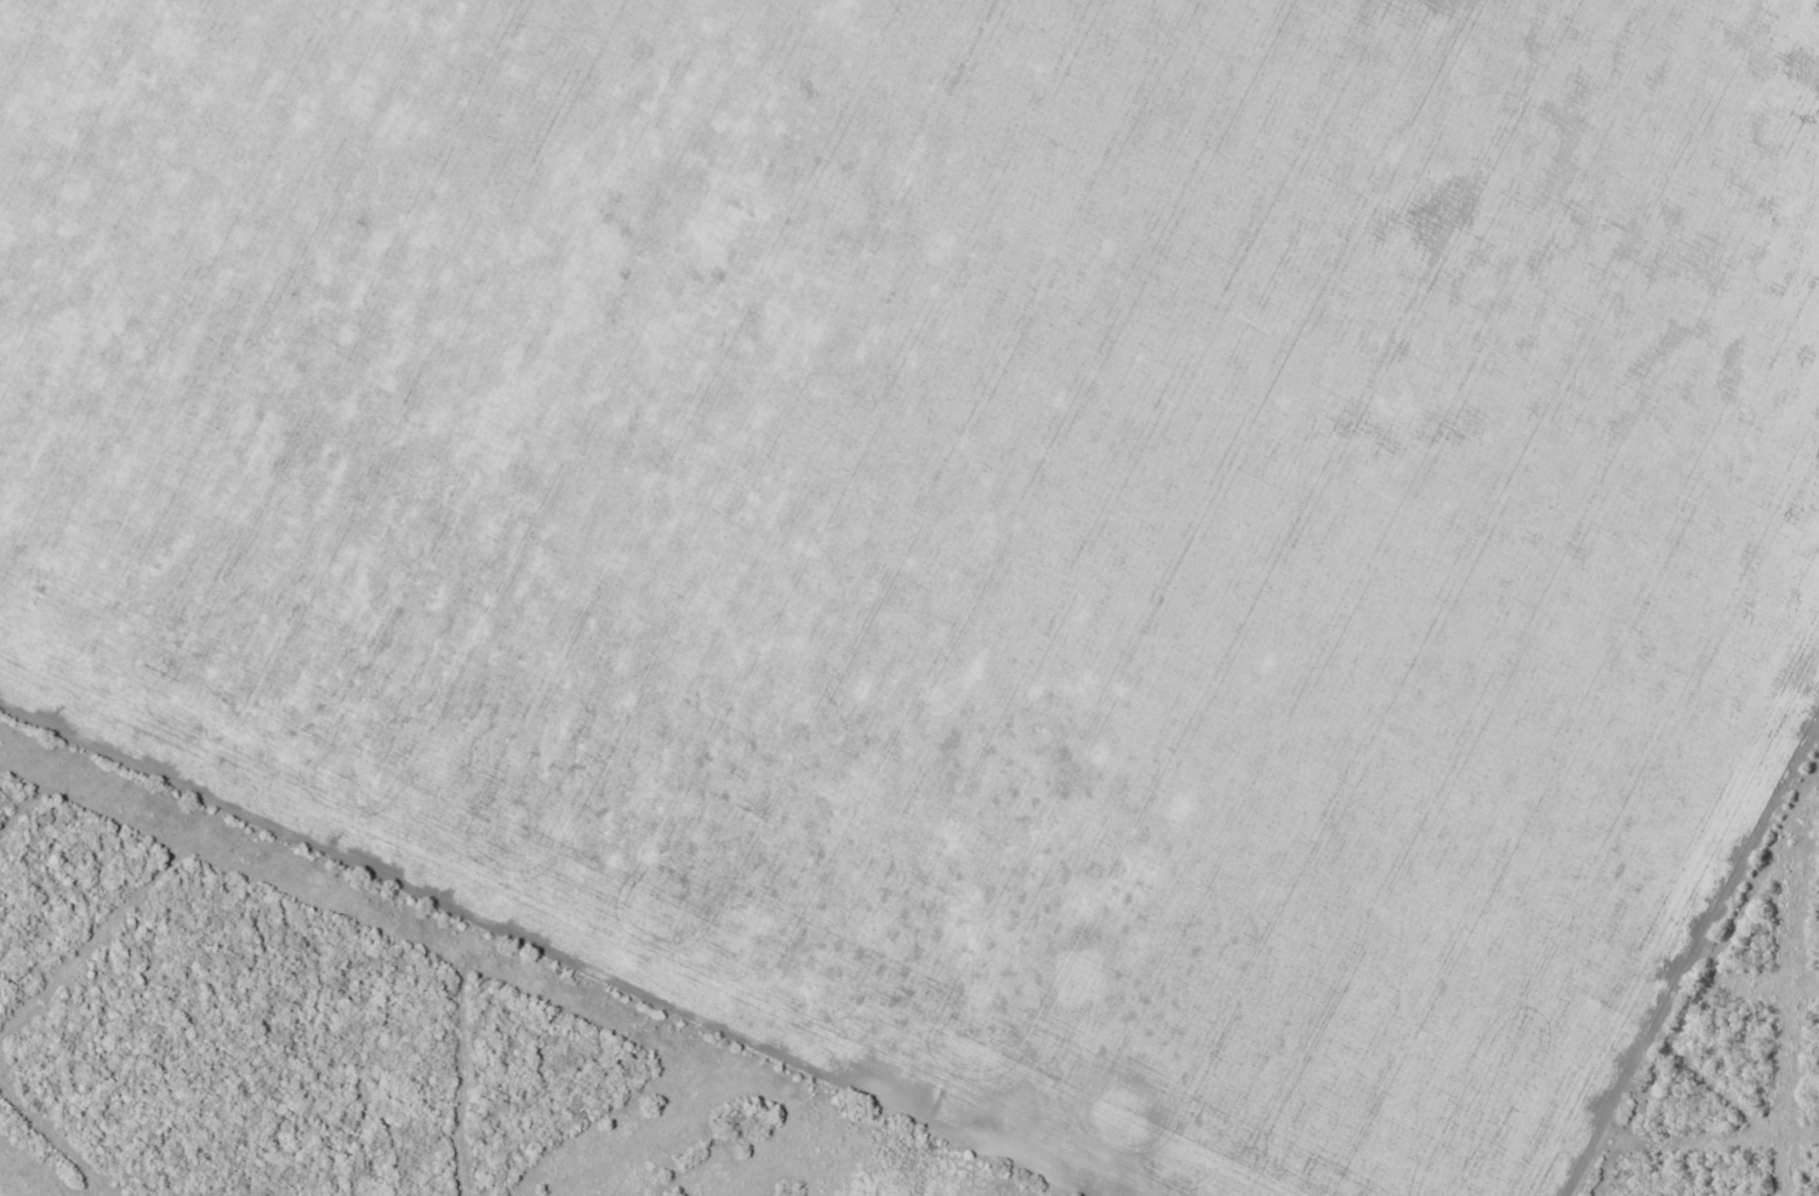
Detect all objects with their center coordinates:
road: (782, 1082)

